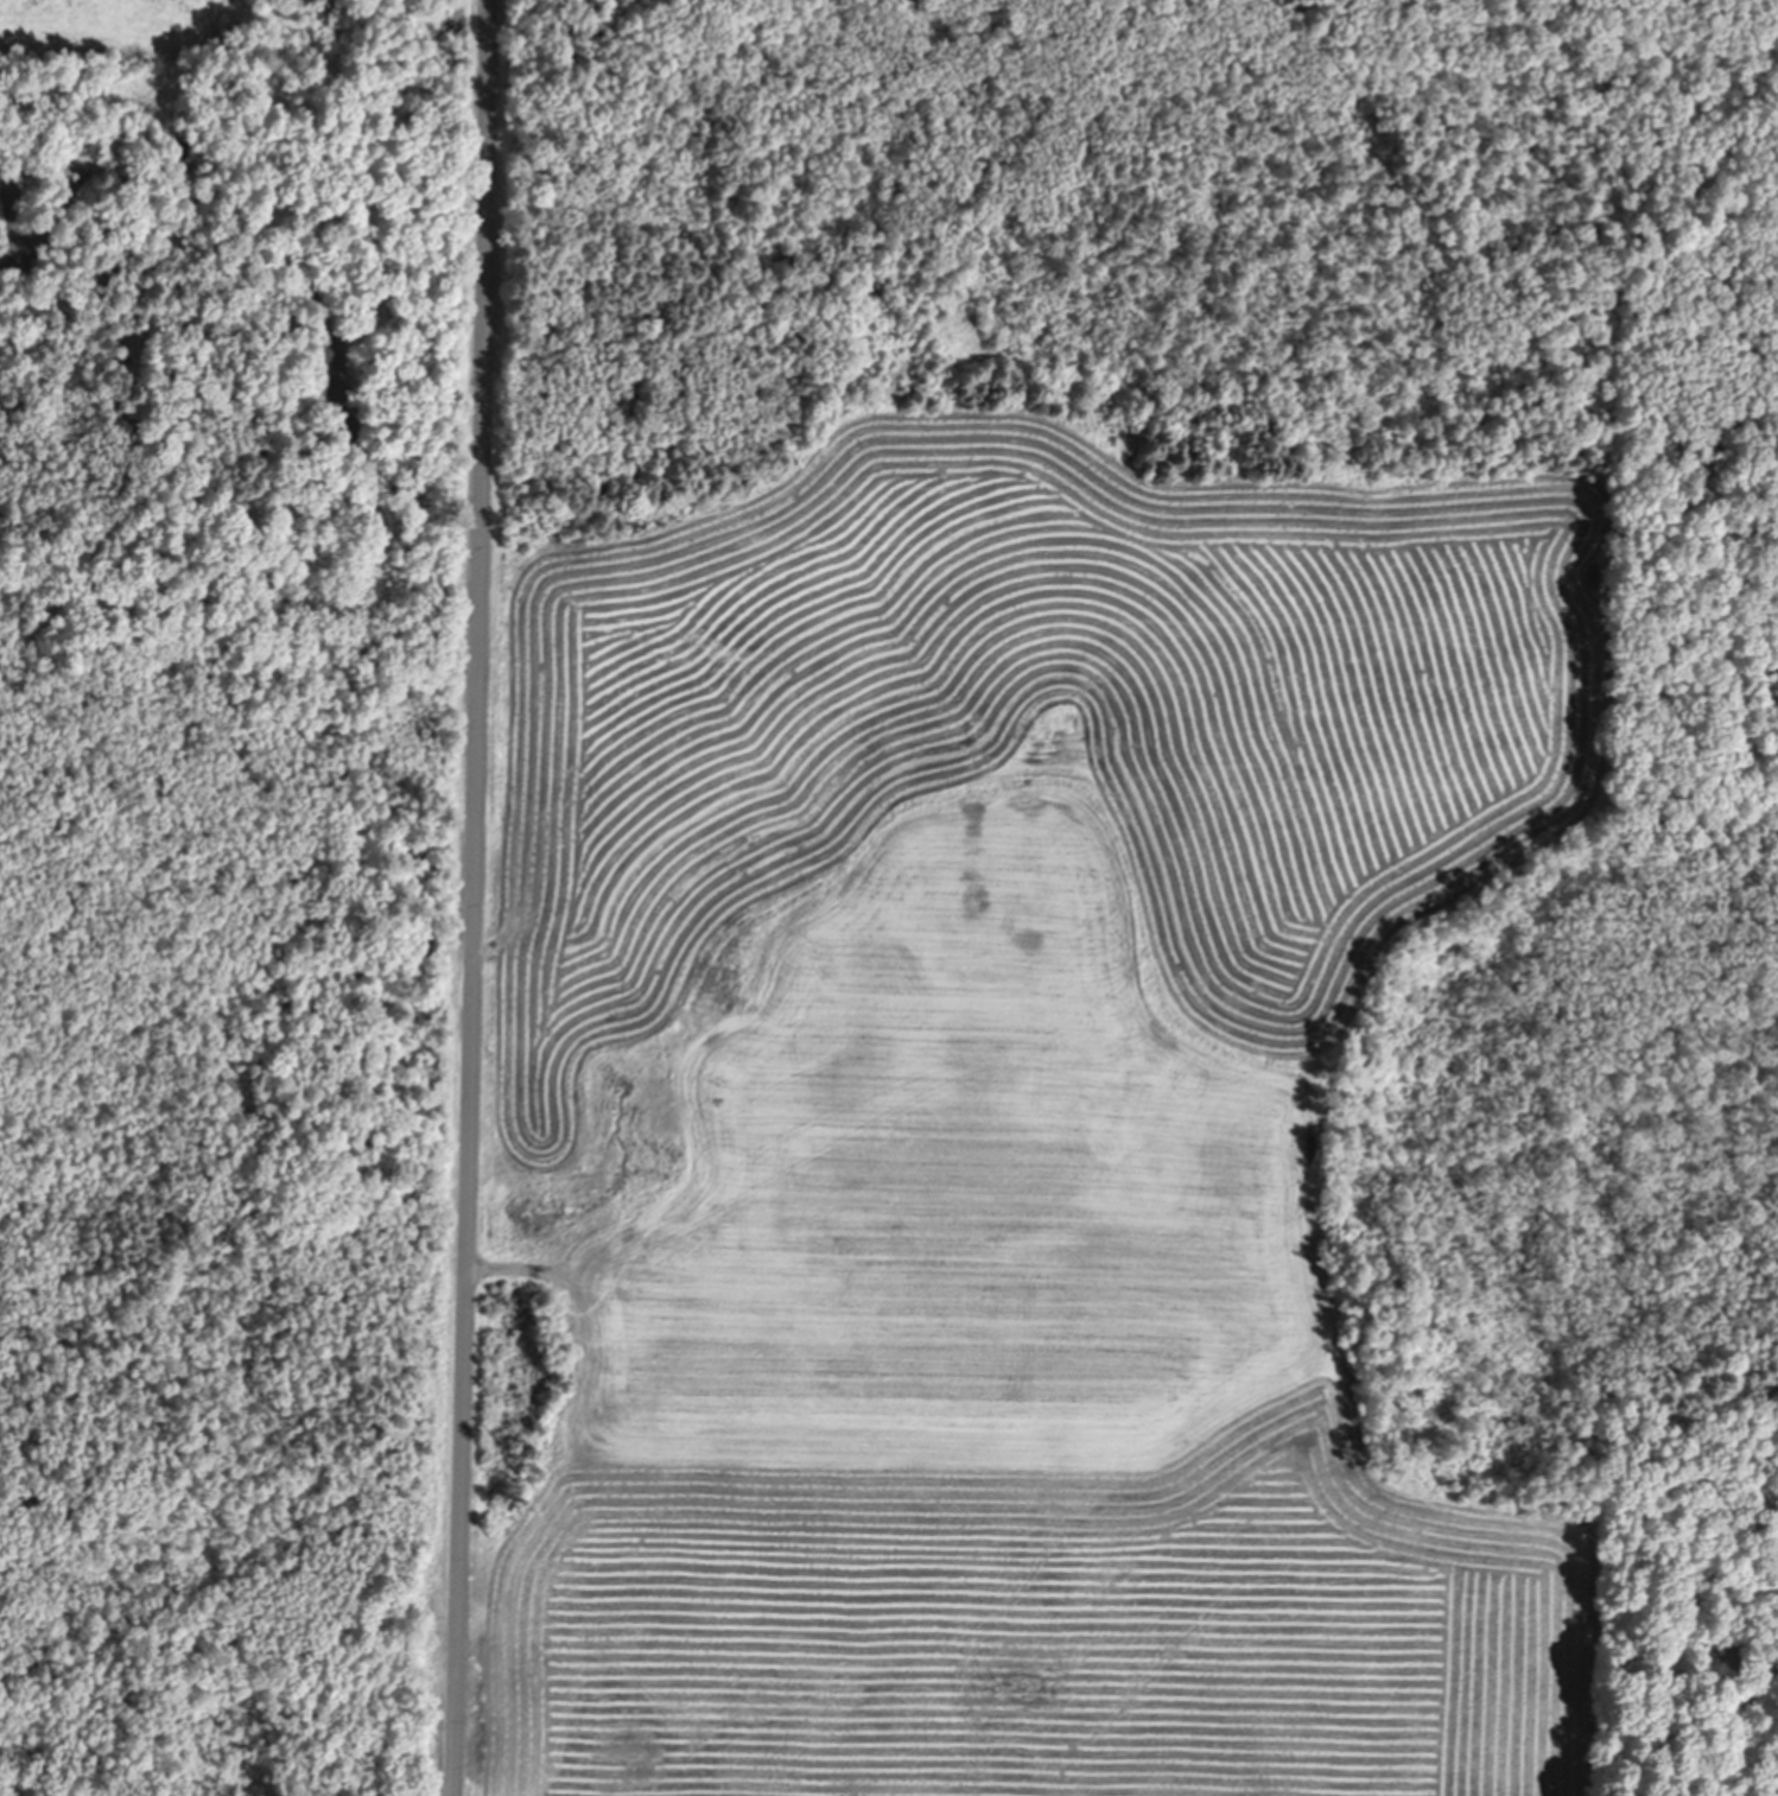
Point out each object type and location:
road: (470, 897)
building: (865, 1211)
building: (840, 1333)

